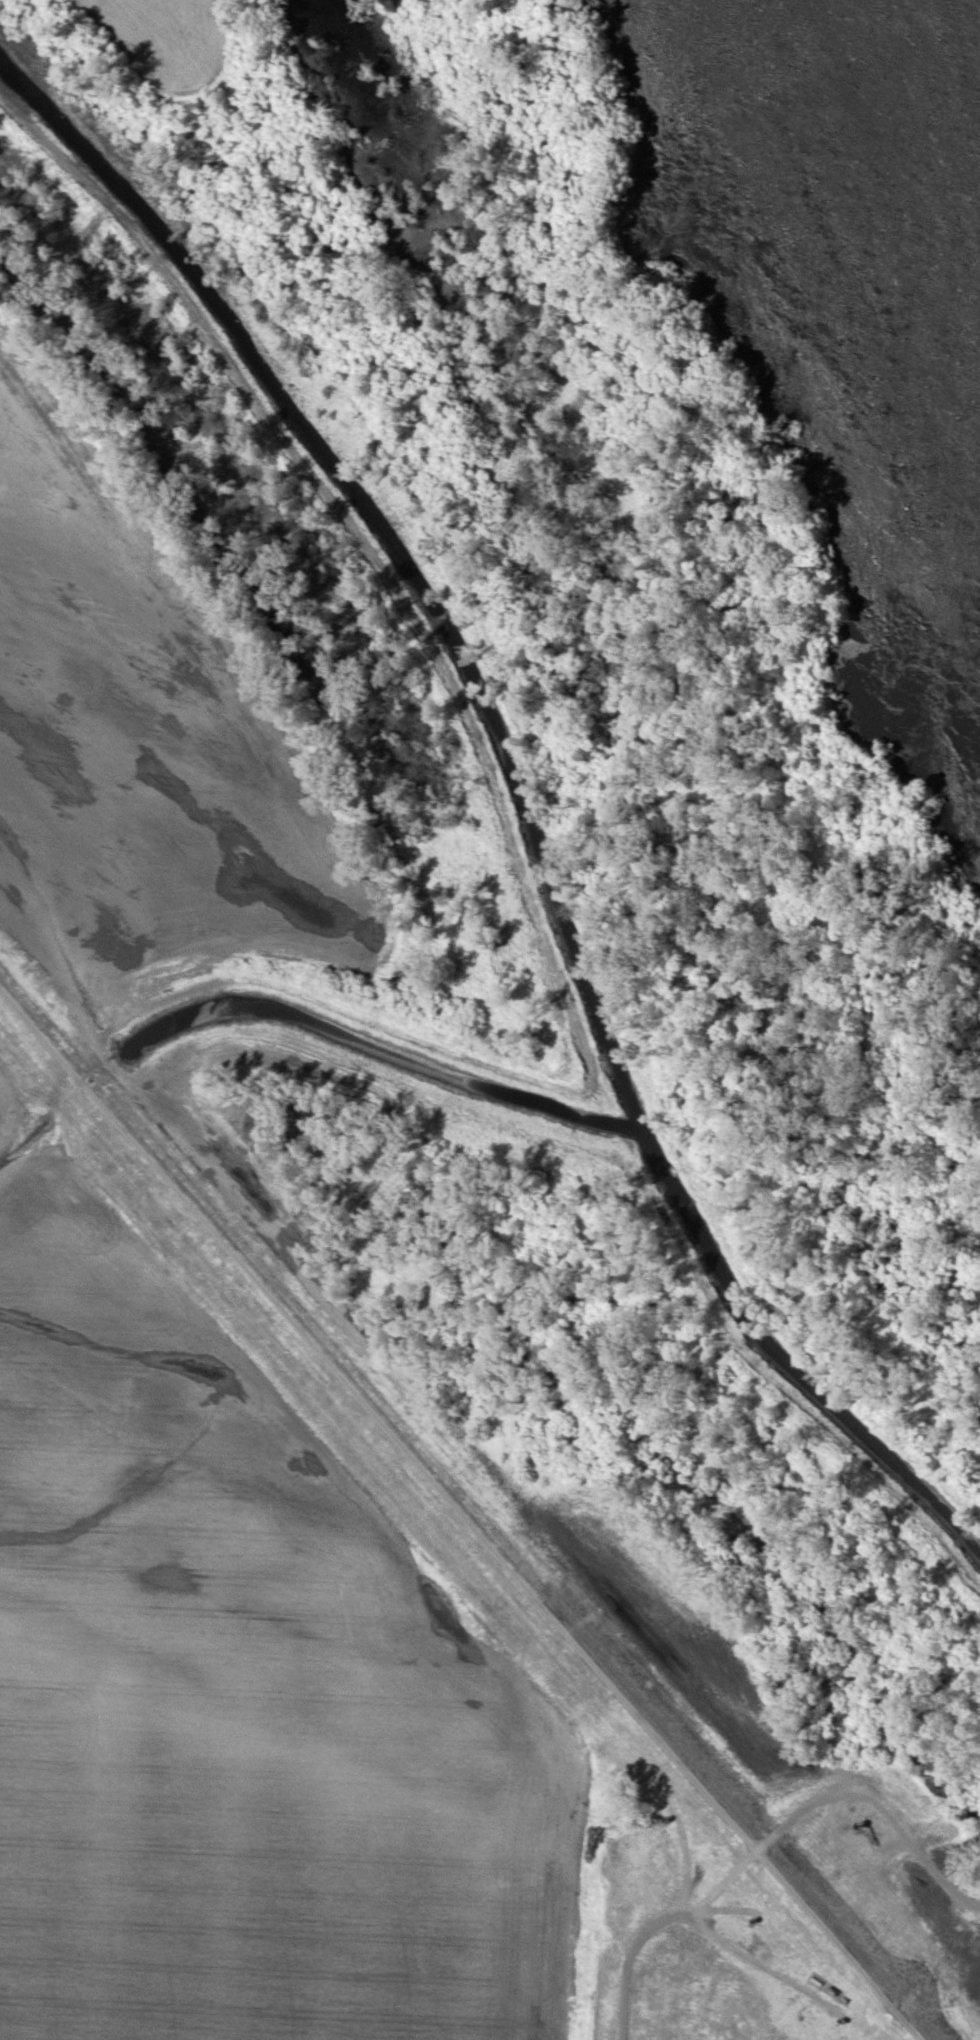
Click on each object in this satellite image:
crop: (167, 43)
crop: (139, 745)
road: (457, 1512)
crop: (662, 1622)
crop: (239, 1692)
crop: (969, 1997)
crop: (719, 1999)

